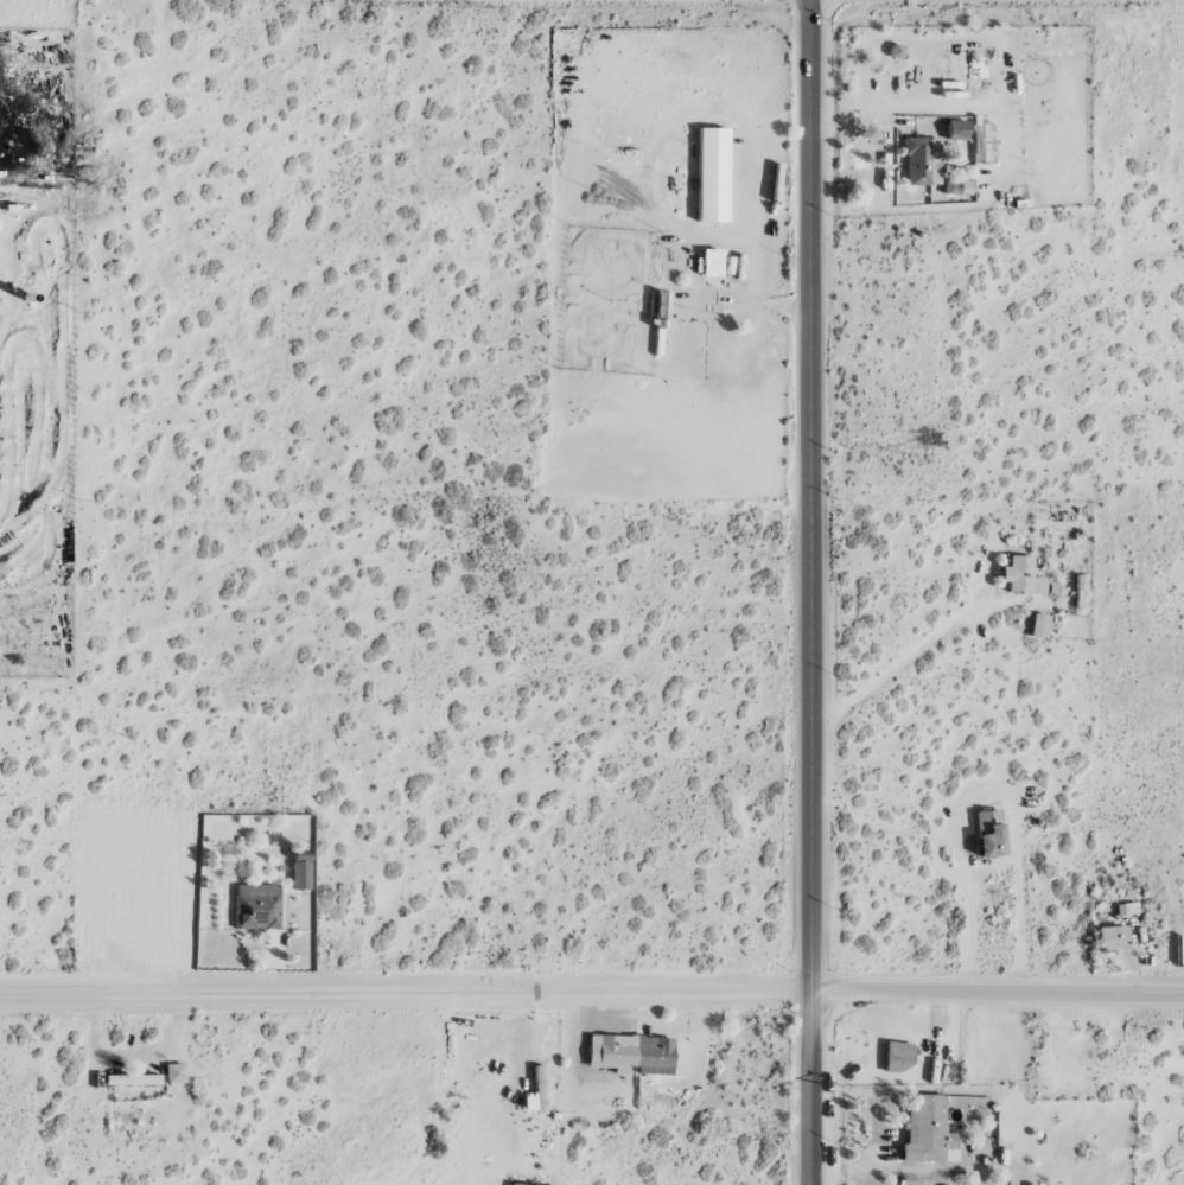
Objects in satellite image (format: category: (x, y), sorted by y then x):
building: (955, 129)
building: (921, 160)
building: (711, 174)
building: (955, 186)
building: (709, 262)
building: (1019, 576)
road: (813, 592)
building: (1077, 597)
building: (1037, 625)
road: (899, 662)
road: (986, 786)
building: (987, 833)
building: (299, 871)
building: (255, 906)
building: (1125, 909)
building: (1109, 937)
road: (592, 994)
building: (630, 1053)
building: (897, 1057)
building: (173, 1073)
building: (131, 1079)
building: (924, 1130)

